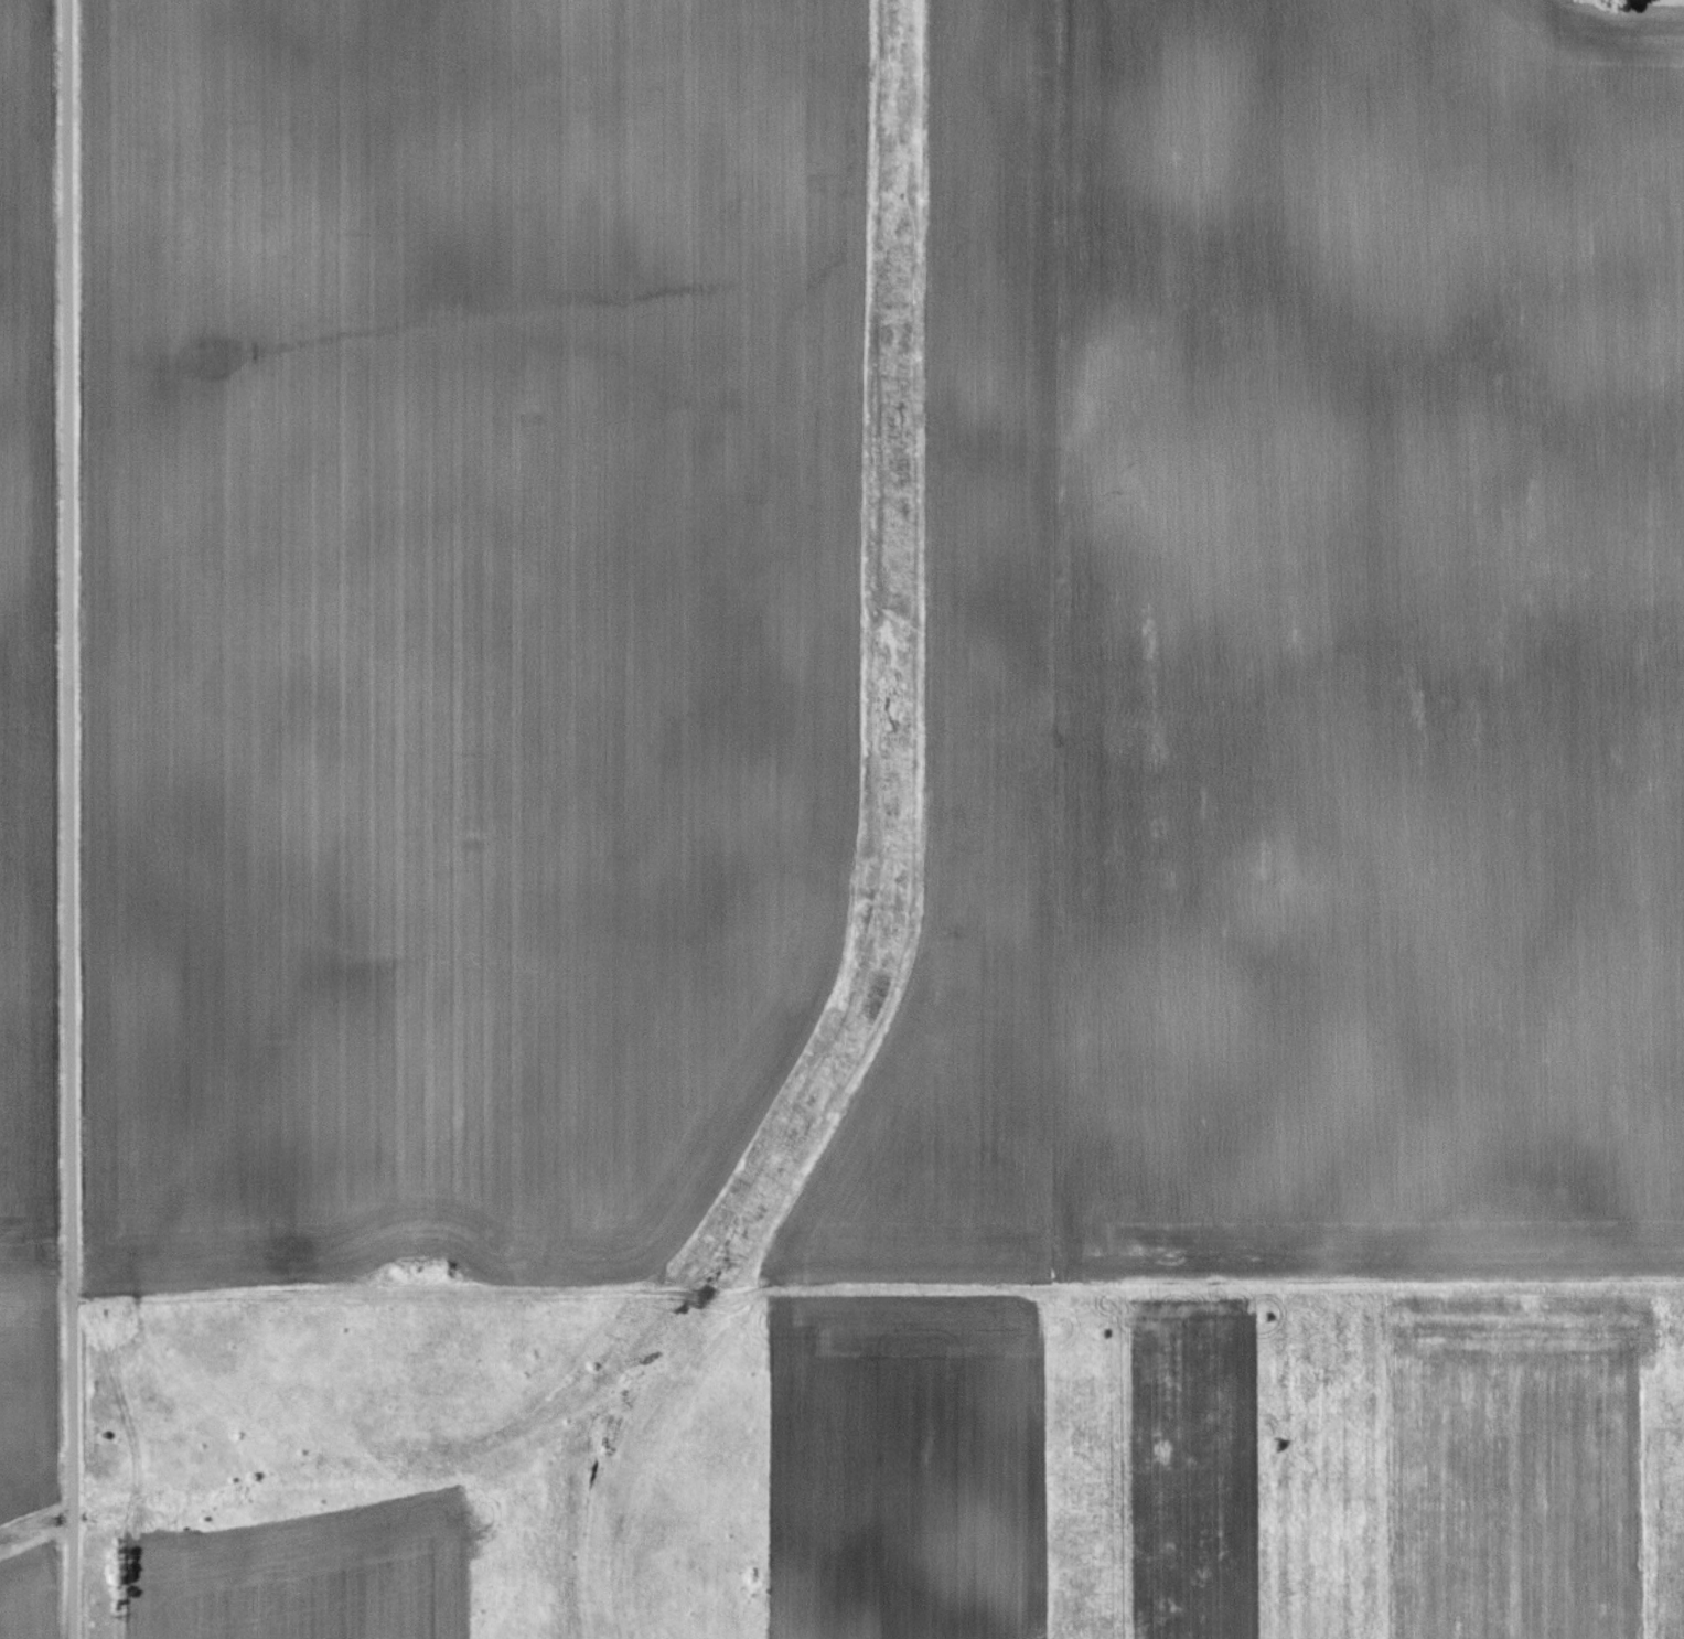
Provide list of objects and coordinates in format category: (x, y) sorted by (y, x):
road: (72, 819)

